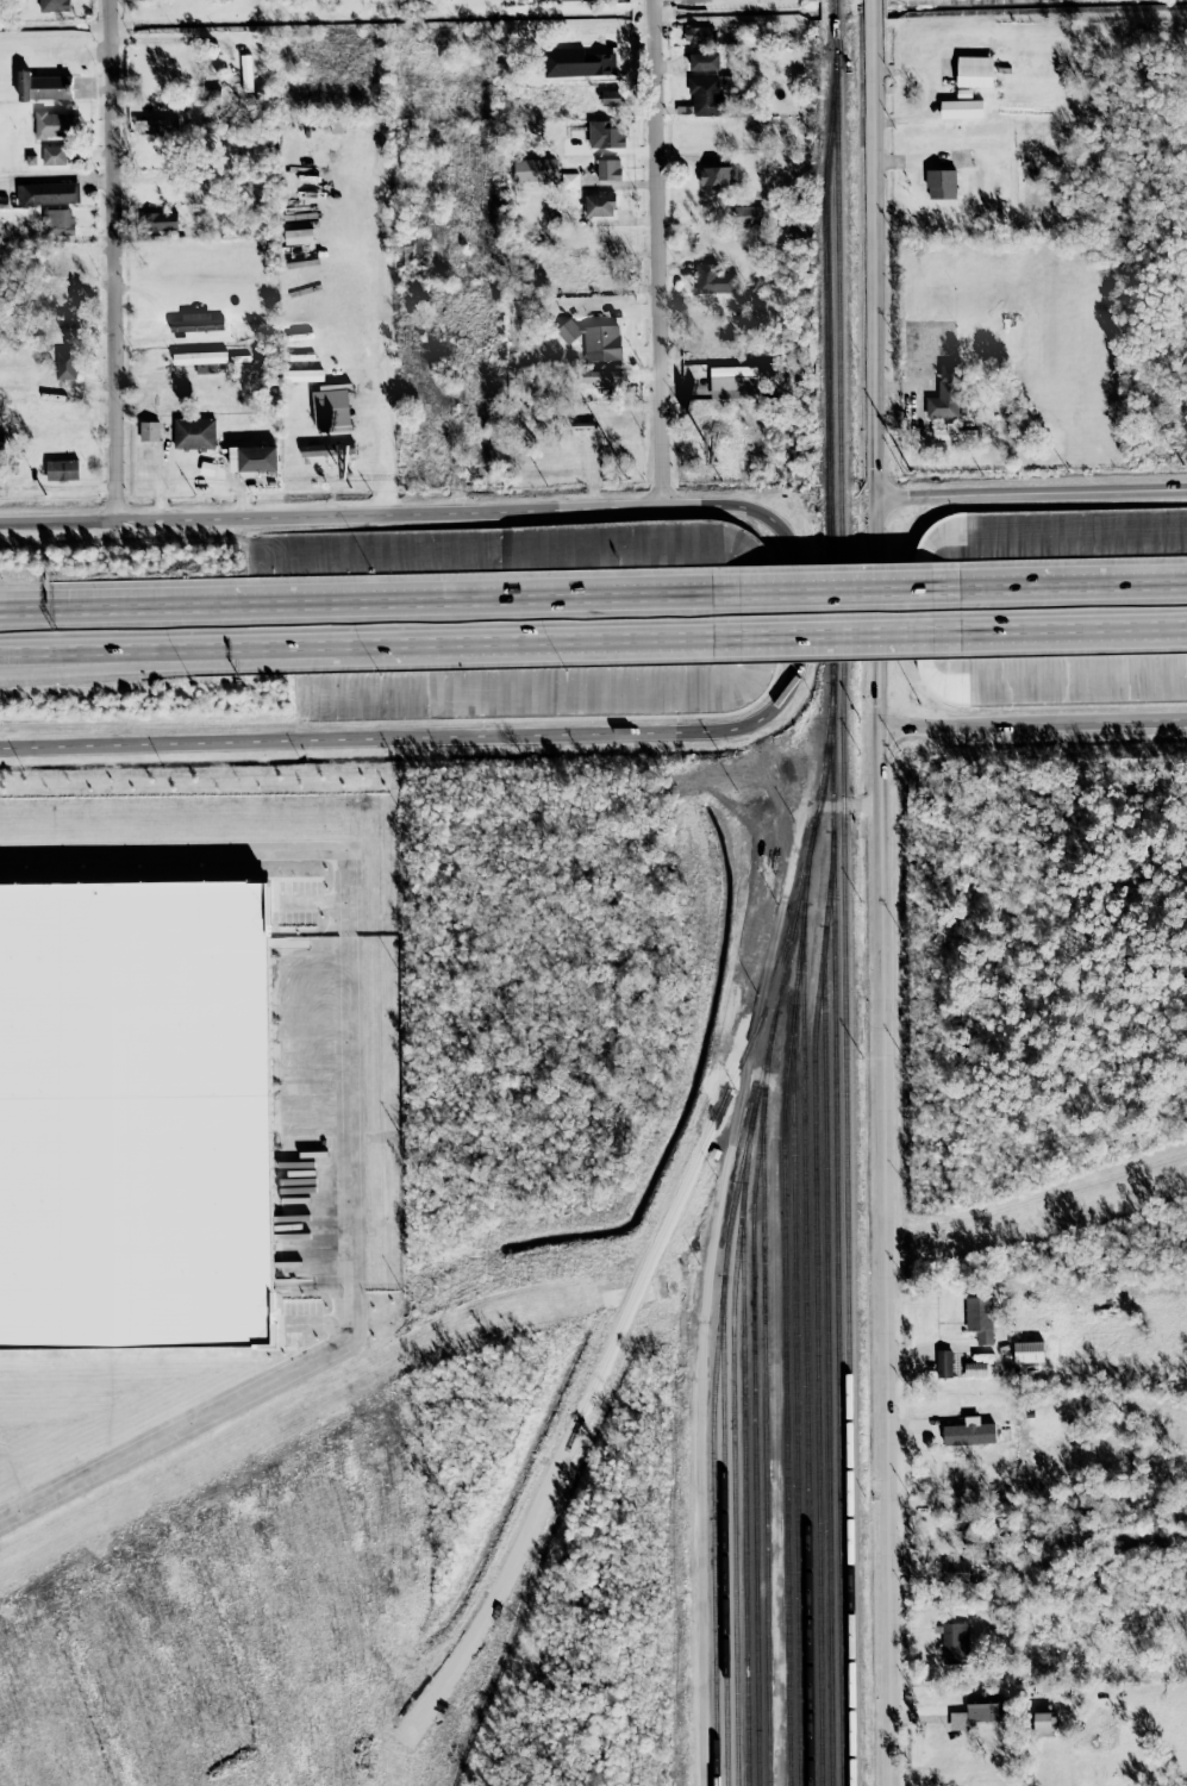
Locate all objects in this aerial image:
building: (146, 0)
building: (575, 0)
building: (698, 35)
building: (704, 62)
building: (576, 63)
building: (974, 71)
building: (245, 73)
building: (43, 87)
building: (704, 96)
building: (610, 98)
building: (961, 108)
building: (55, 124)
building: (149, 124)
building: (605, 136)
building: (54, 156)
building: (607, 169)
building: (536, 170)
building: (714, 175)
building: (569, 181)
building: (941, 185)
building: (48, 193)
building: (599, 205)
road: (655, 208)
building: (746, 216)
building: (57, 221)
building: (158, 221)
road: (112, 260)
building: (712, 280)
building: (196, 323)
building: (594, 341)
road: (376, 343)
building: (199, 357)
building: (64, 364)
building: (732, 382)
building: (944, 394)
building: (331, 407)
building: (149, 431)
building: (194, 433)
building: (952, 433)
building: (1, 442)
building: (324, 452)
building: (252, 458)
road: (660, 461)
building: (62, 470)
road: (1029, 497)
road: (414, 512)
road: (57, 522)
road: (1144, 591)
road: (1073, 592)
road: (987, 593)
road: (826, 598)
road: (74, 601)
road: (605, 602)
road: (793, 604)
road: (317, 606)
road: (74, 610)
road: (1060, 632)
road: (912, 635)
road: (858, 636)
road: (779, 637)
road: (564, 641)
road: (367, 643)
road: (167, 645)
road: (87, 654)
road: (1030, 726)
road: (369, 738)
railway: (844, 892)
road: (873, 893)
railway: (794, 918)
building: (133, 1113)
road: (350, 1122)
railway: (837, 1239)
road: (710, 1257)
railway: (817, 1317)
building: (980, 1318)
railway: (806, 1322)
railway: (794, 1353)
building: (1029, 1353)
railway: (785, 1360)
building: (944, 1363)
railway: (827, 1365)
building: (975, 1369)
railway: (764, 1418)
building: (969, 1435)
railway: (735, 1451)
railway: (755, 1454)
railway: (744, 1491)
road: (942, 1538)
railway: (725, 1541)
building: (952, 1574)
building: (955, 1644)
building: (977, 1711)
building: (1043, 1722)

